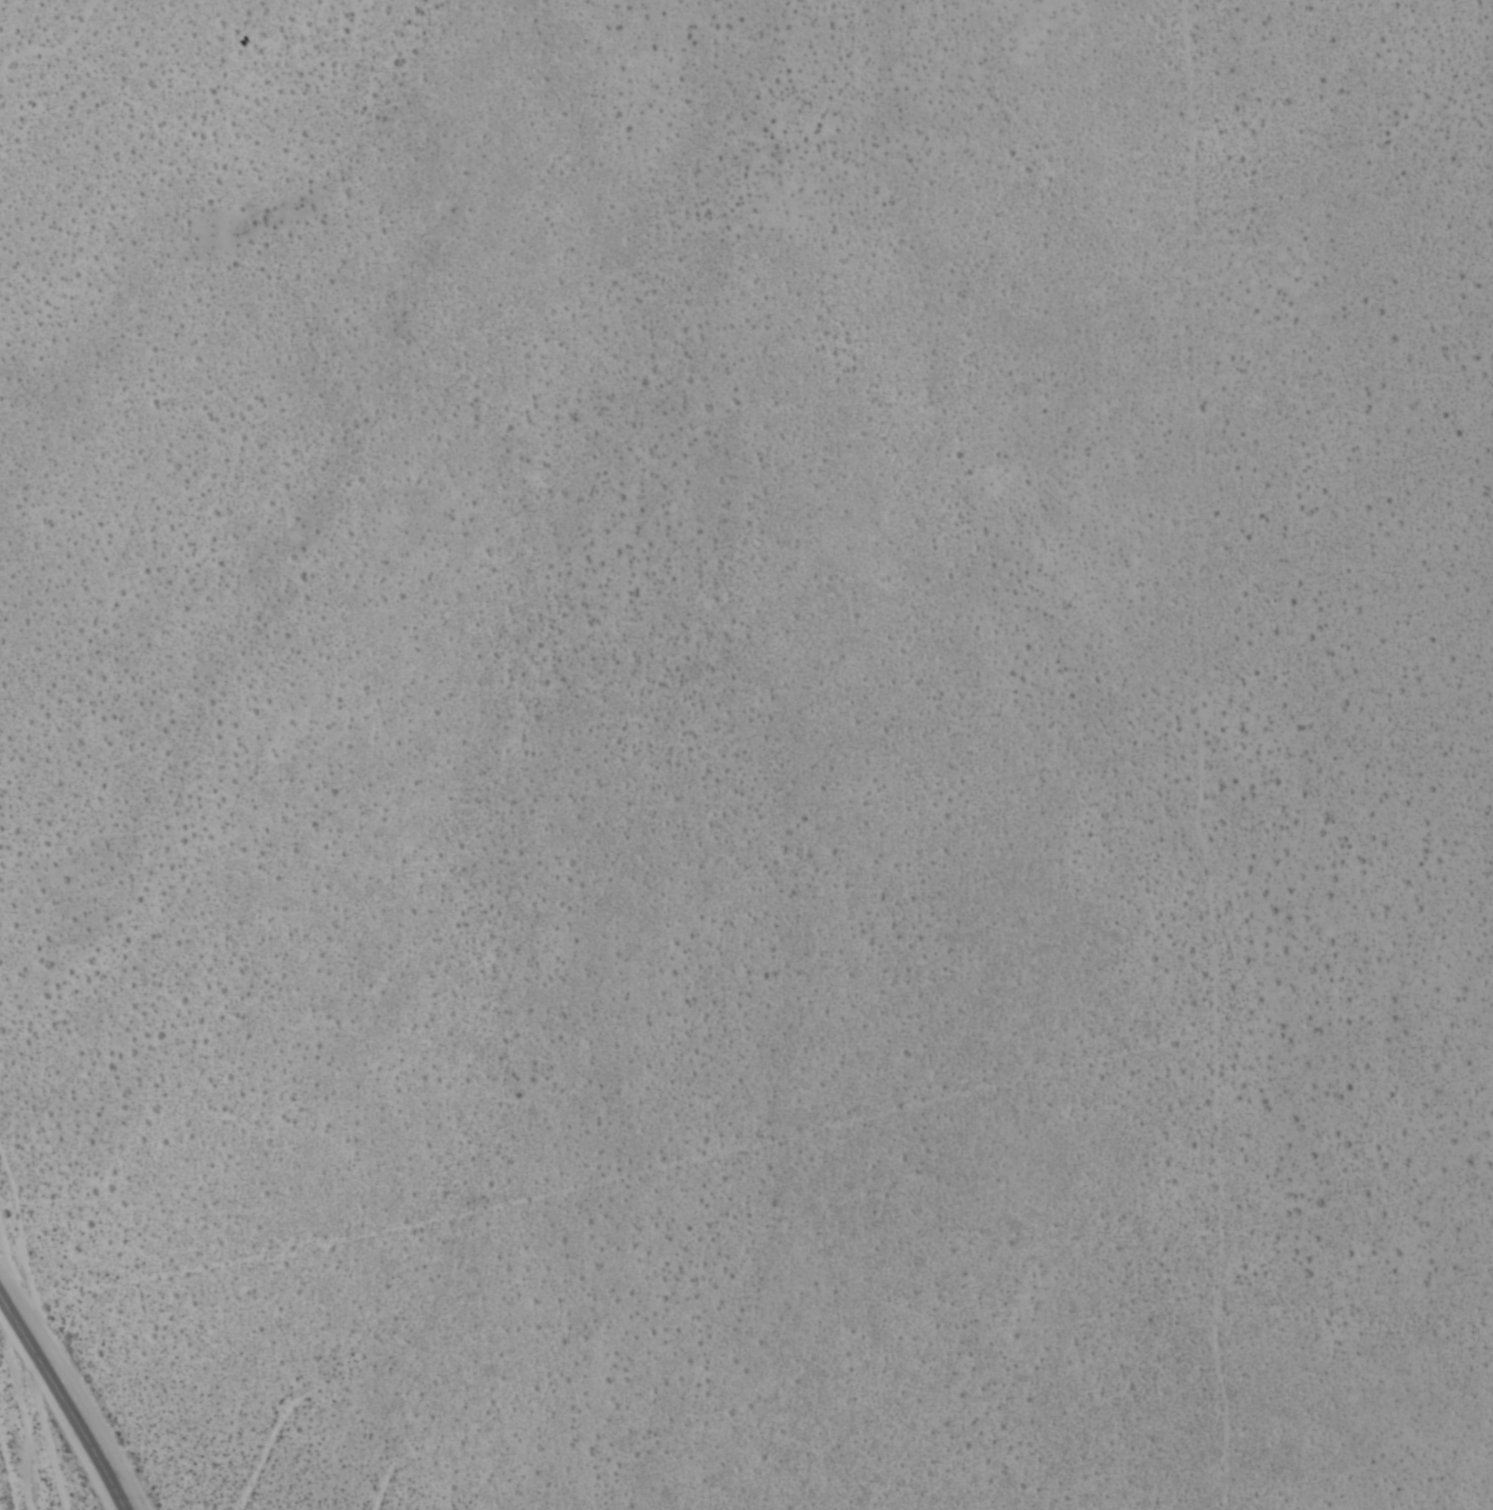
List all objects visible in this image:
road: (65, 1399)

